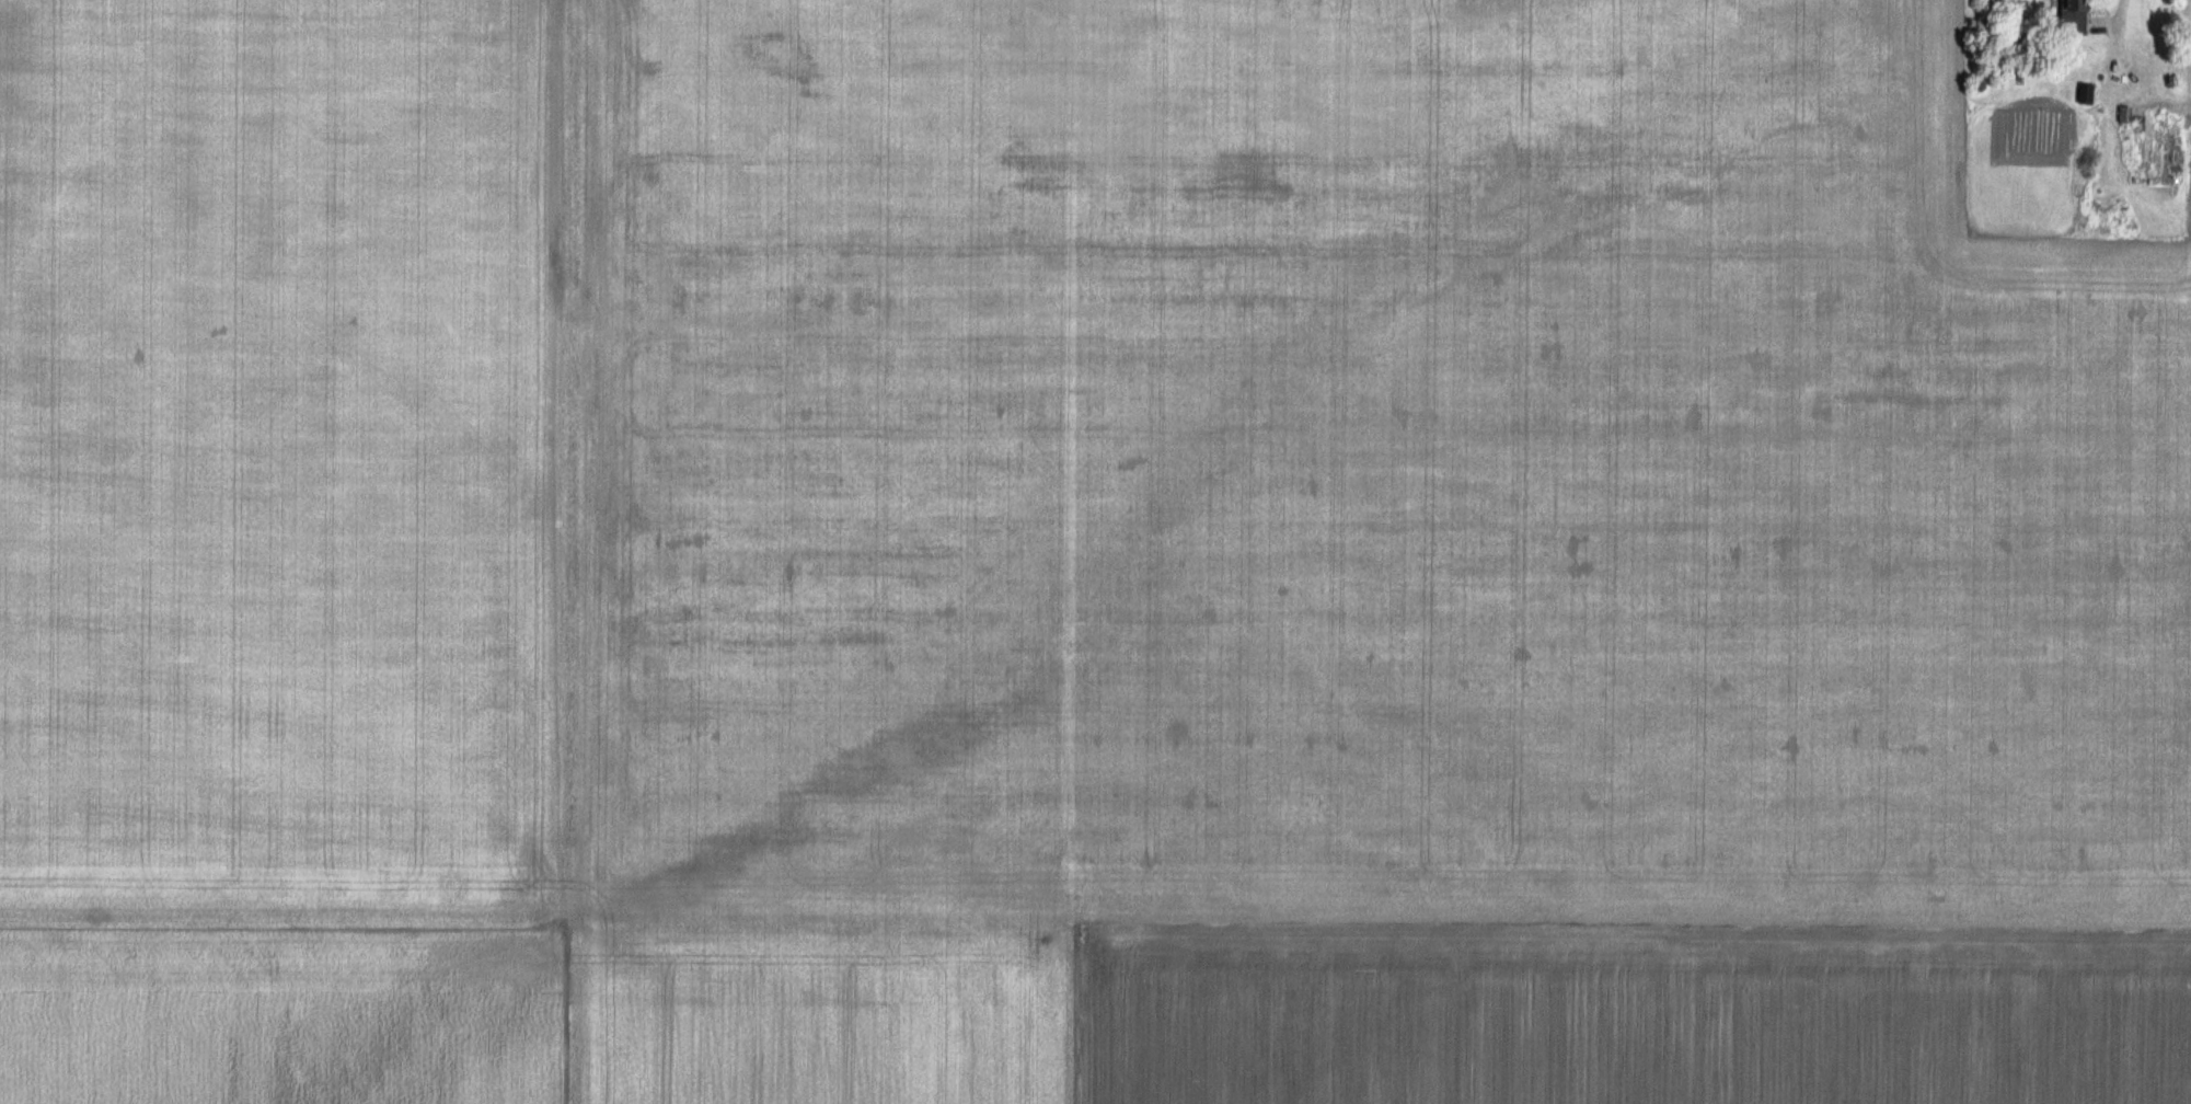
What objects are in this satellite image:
building: (2069, 18)

